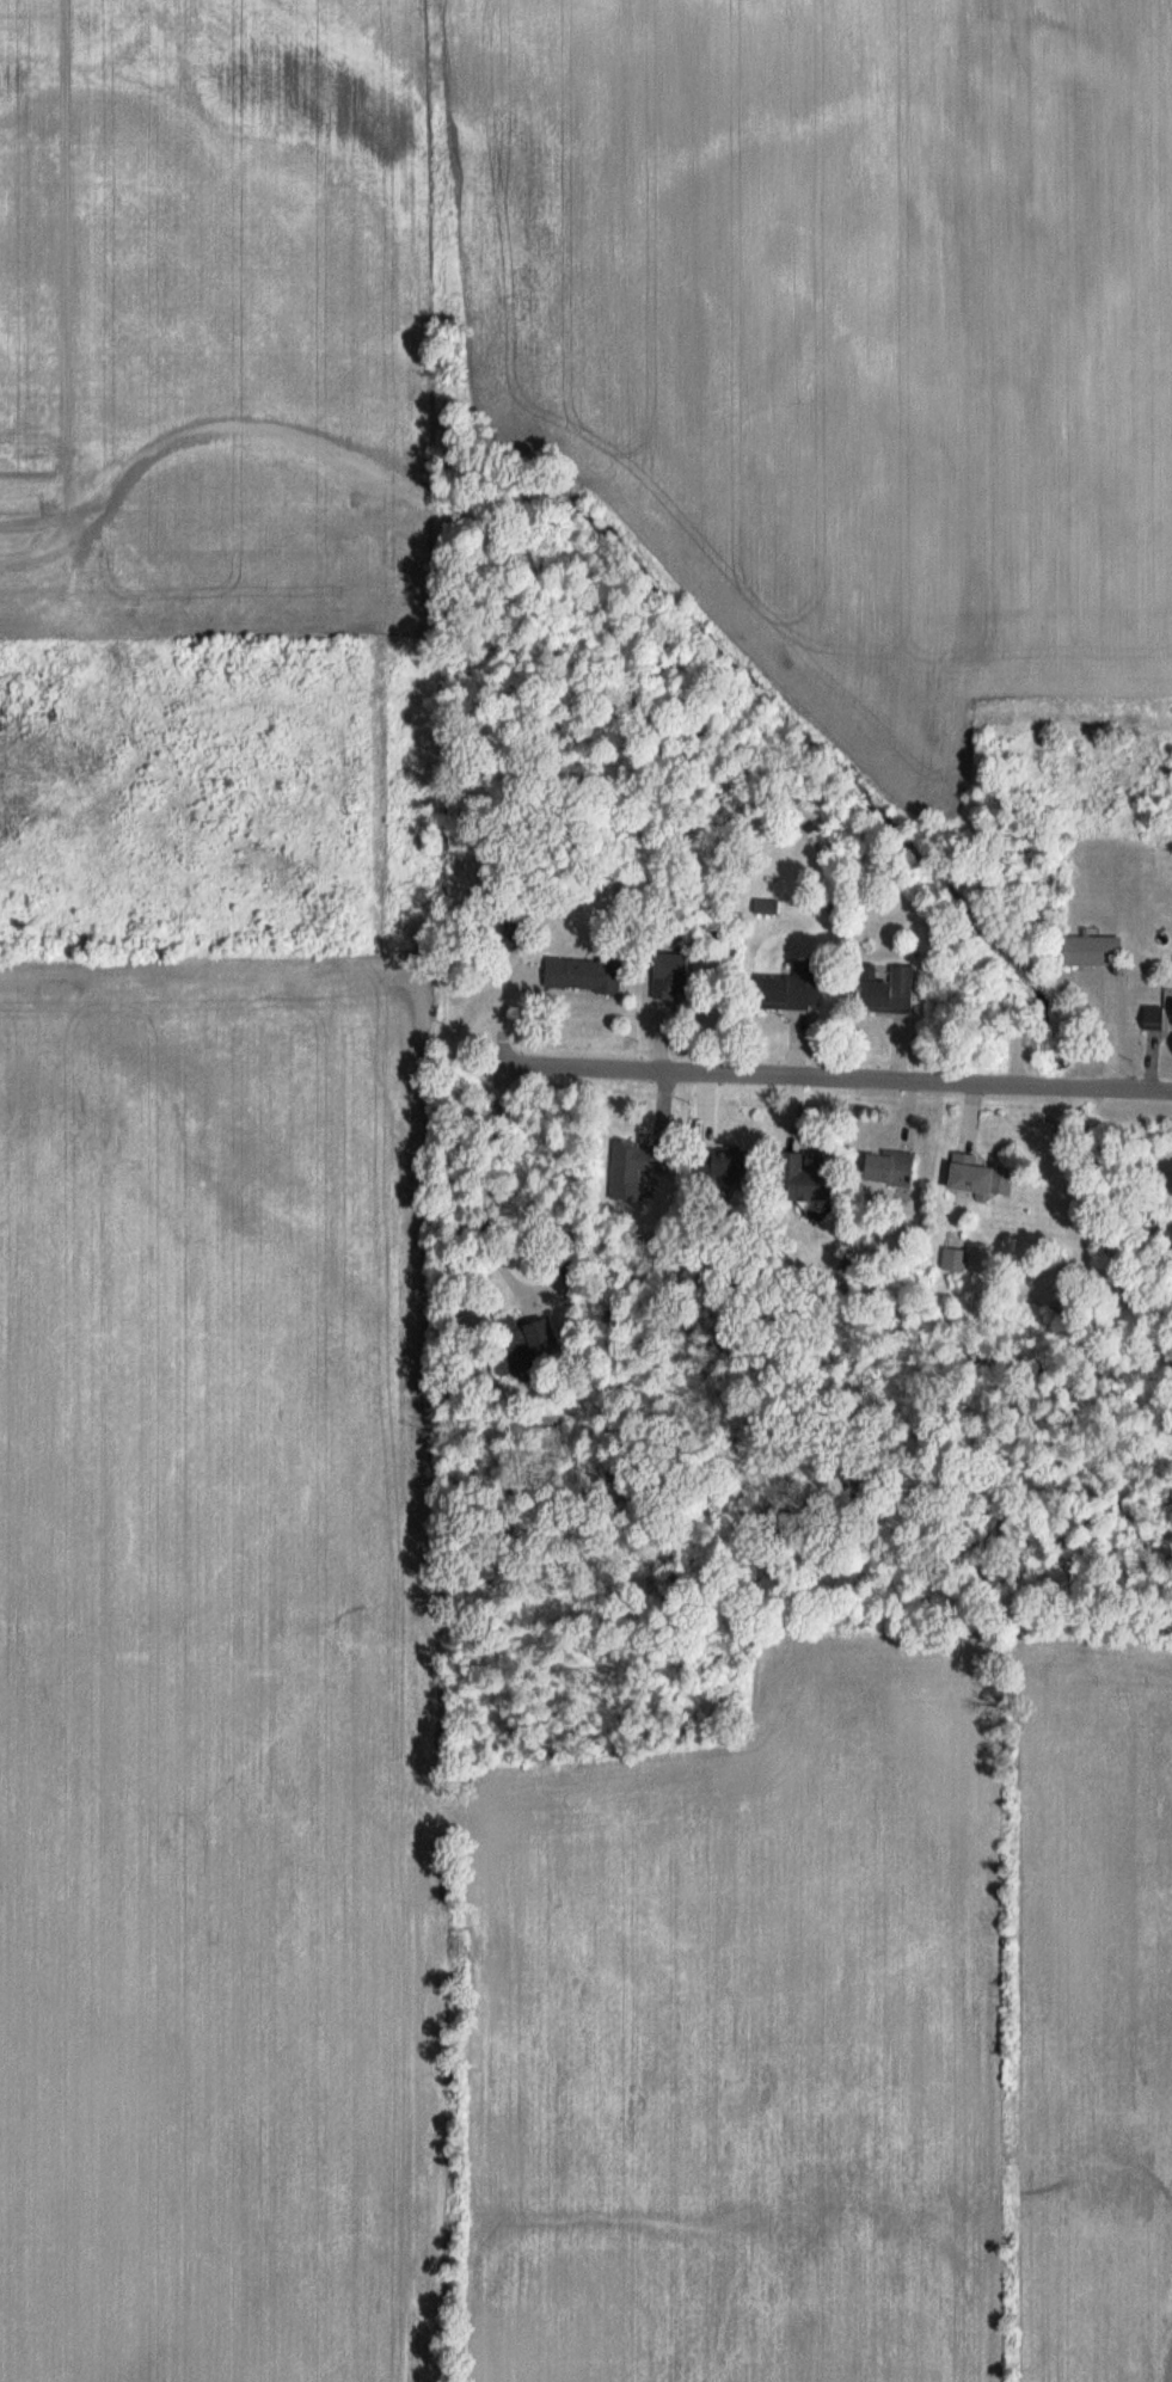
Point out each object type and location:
building: (768, 908)
building: (1093, 952)
building: (673, 971)
building: (584, 976)
building: (892, 992)
building: (797, 1007)
building: (1154, 1019)
road: (840, 1093)
building: (643, 1159)
building: (724, 1162)
building: (894, 1166)
building: (980, 1179)
building: (812, 1189)
crop: (210, 1276)
building: (544, 1337)

